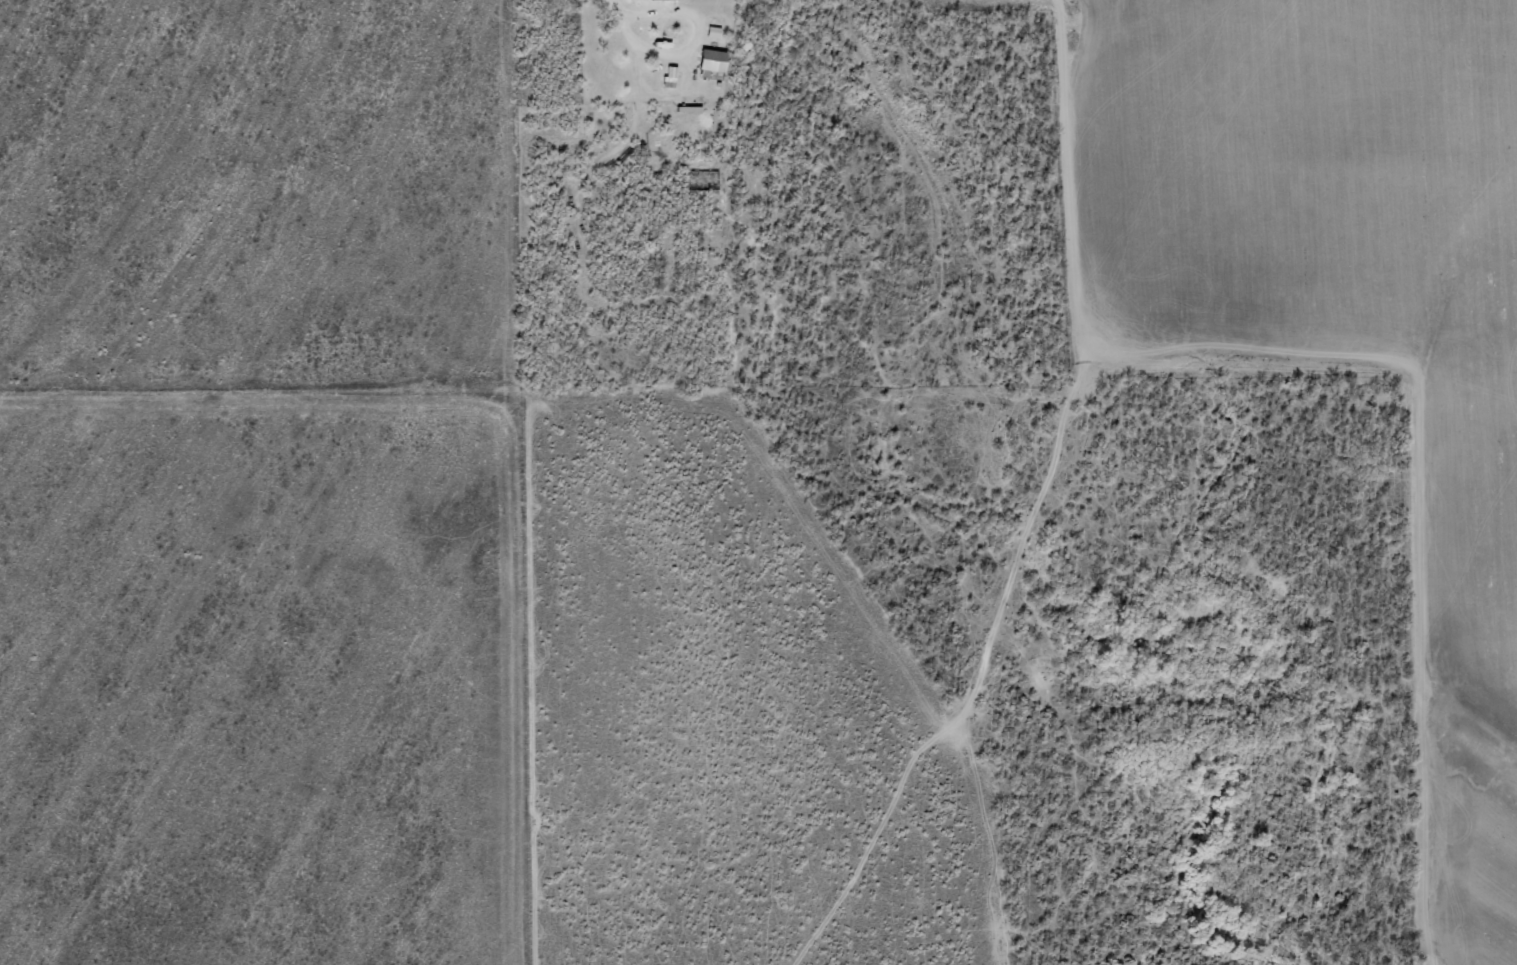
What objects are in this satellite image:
building: (717, 60)

